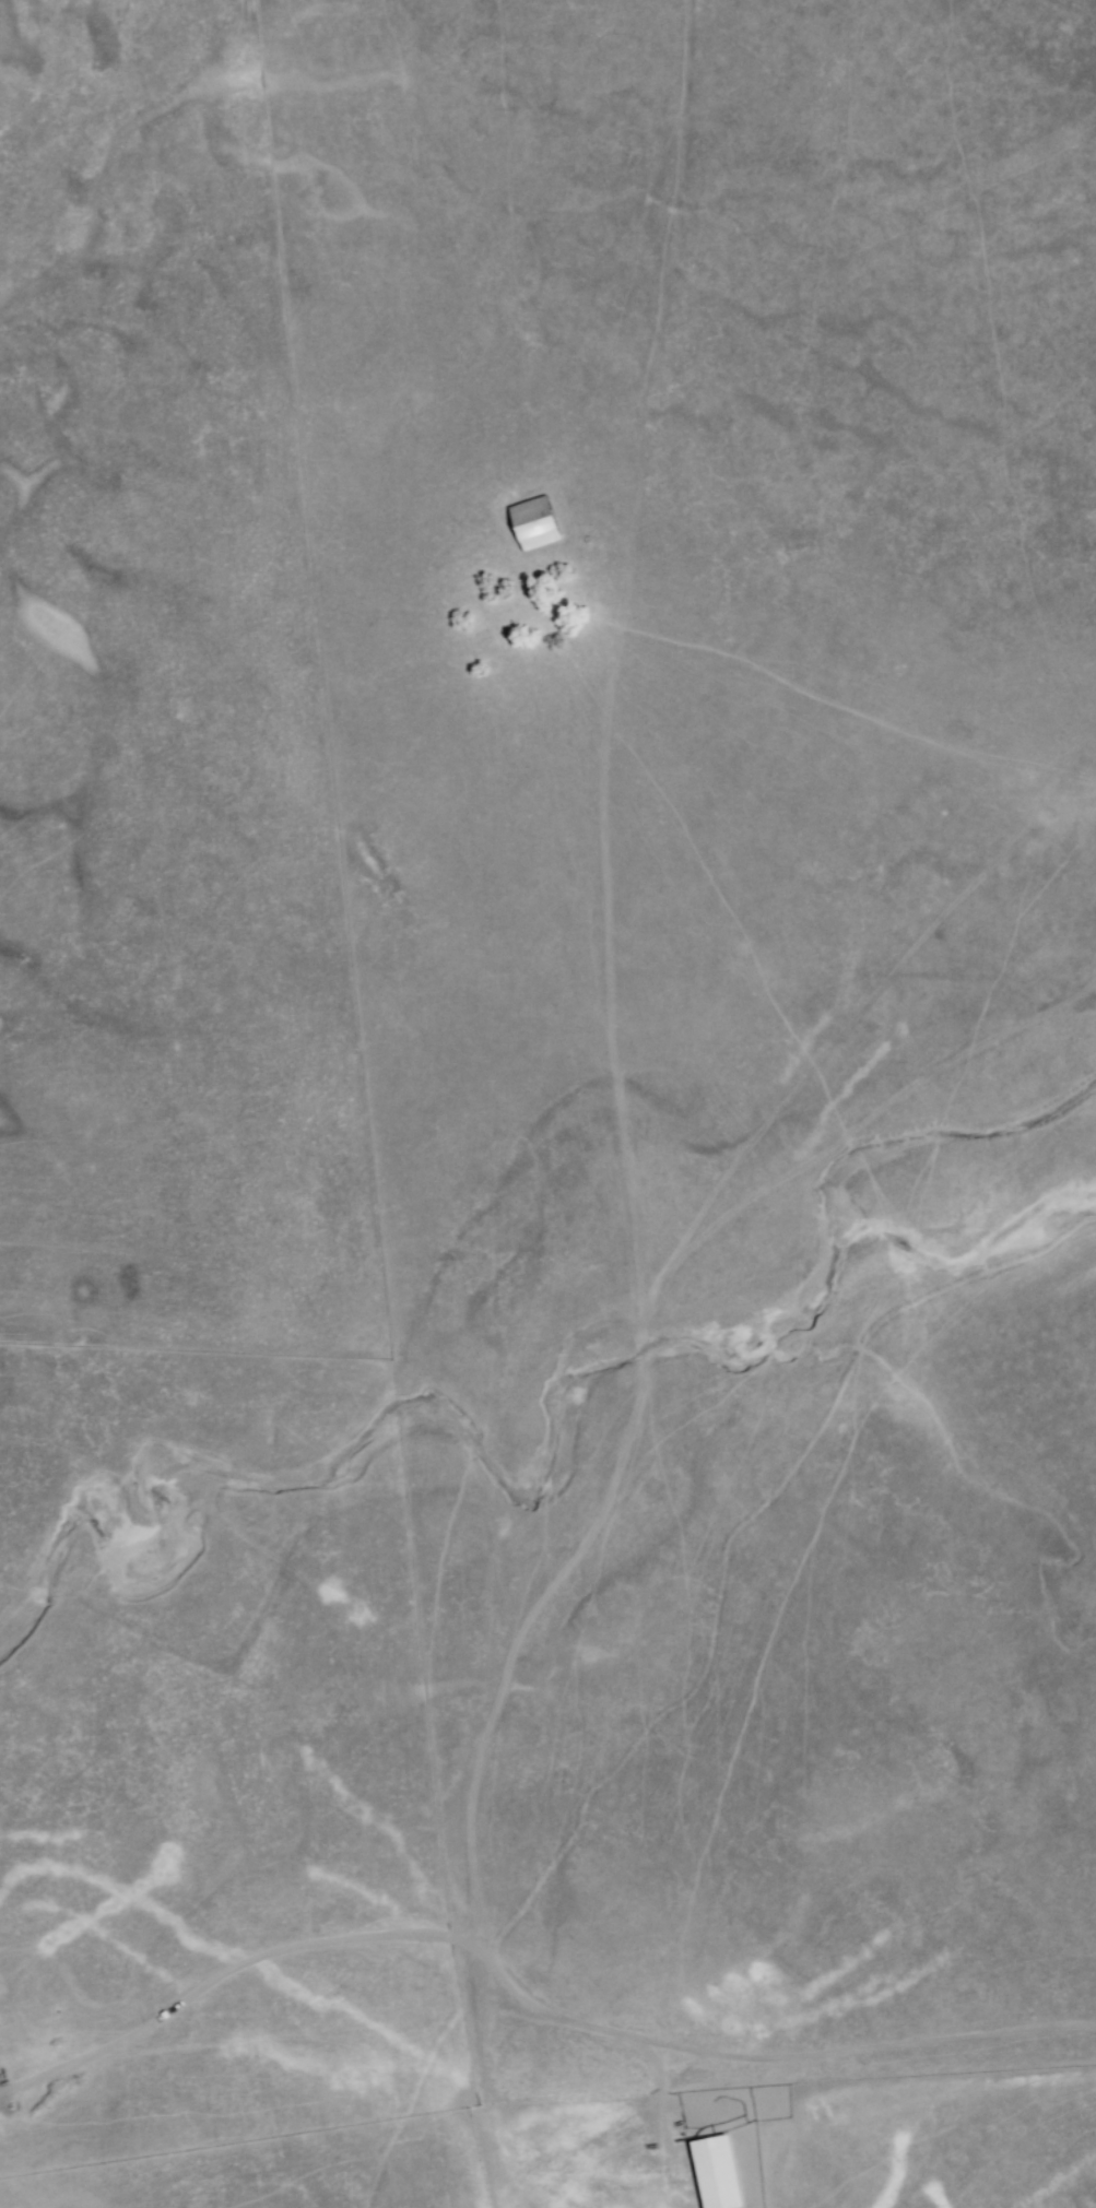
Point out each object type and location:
building: (531, 526)
road: (340, 1986)
building: (712, 2173)

